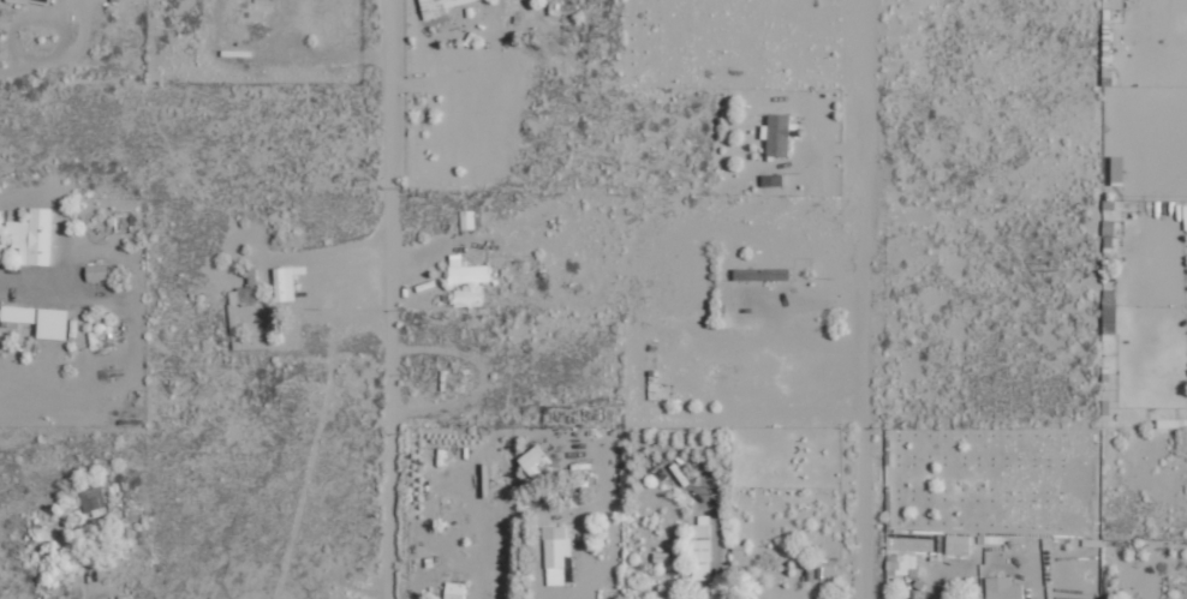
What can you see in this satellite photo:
building: (34, 2)
building: (437, 7)
building: (776, 133)
building: (1185, 217)
building: (466, 220)
building: (32, 236)
building: (1108, 236)
building: (469, 274)
building: (760, 274)
building: (285, 282)
building: (245, 290)
building: (467, 298)
road: (383, 299)
road: (864, 299)
building: (38, 321)
building: (535, 461)
building: (93, 501)
building: (702, 528)
building: (958, 544)
building: (700, 550)
building: (555, 553)
building: (901, 562)
building: (1002, 588)
building: (454, 591)
building: (673, 598)

